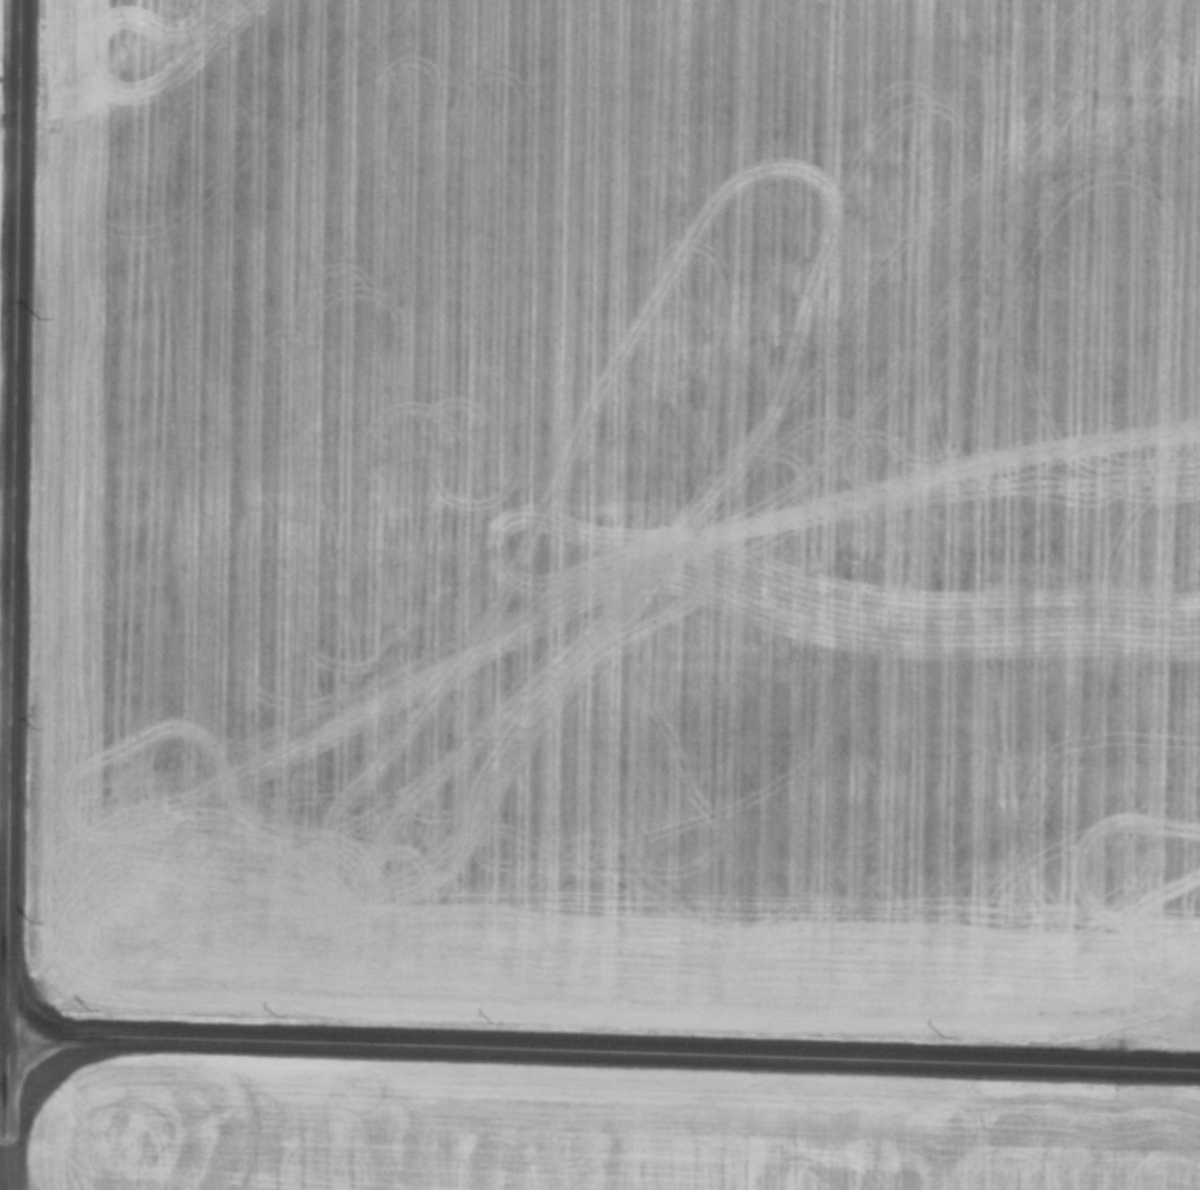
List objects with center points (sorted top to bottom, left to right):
road: (8, 512)
road: (603, 1034)
road: (6, 1107)

